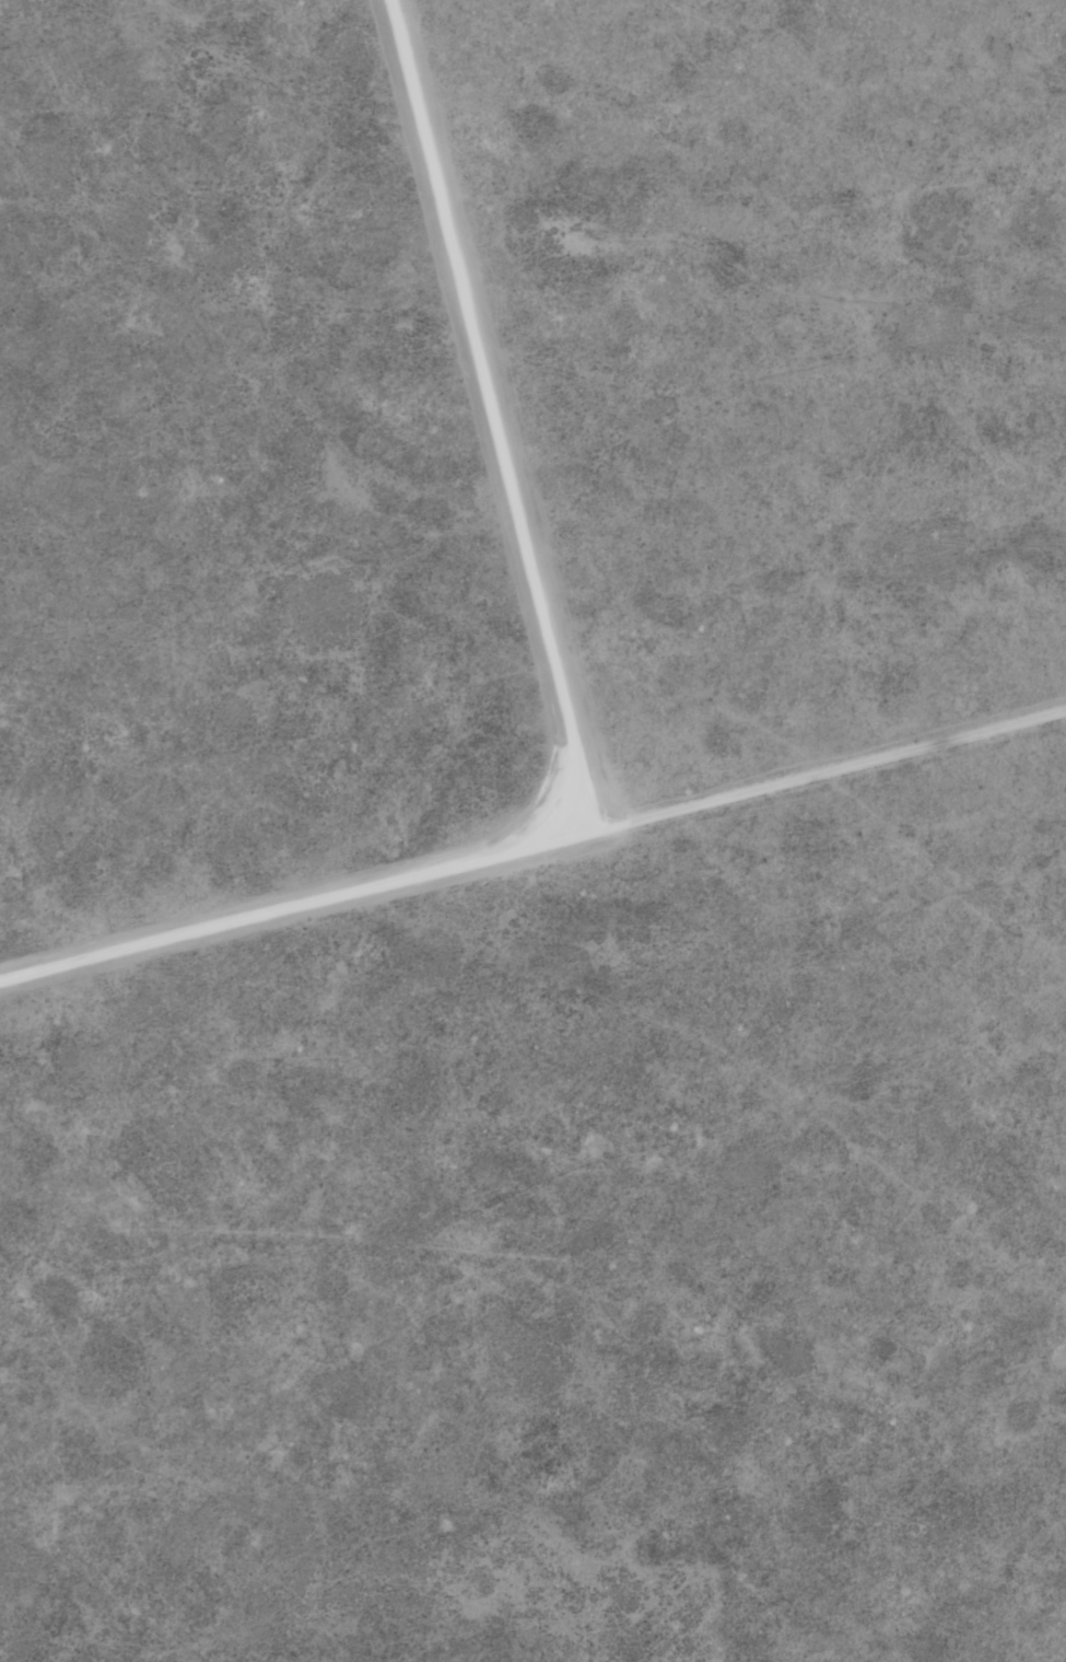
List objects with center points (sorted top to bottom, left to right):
road: (532, 845)

